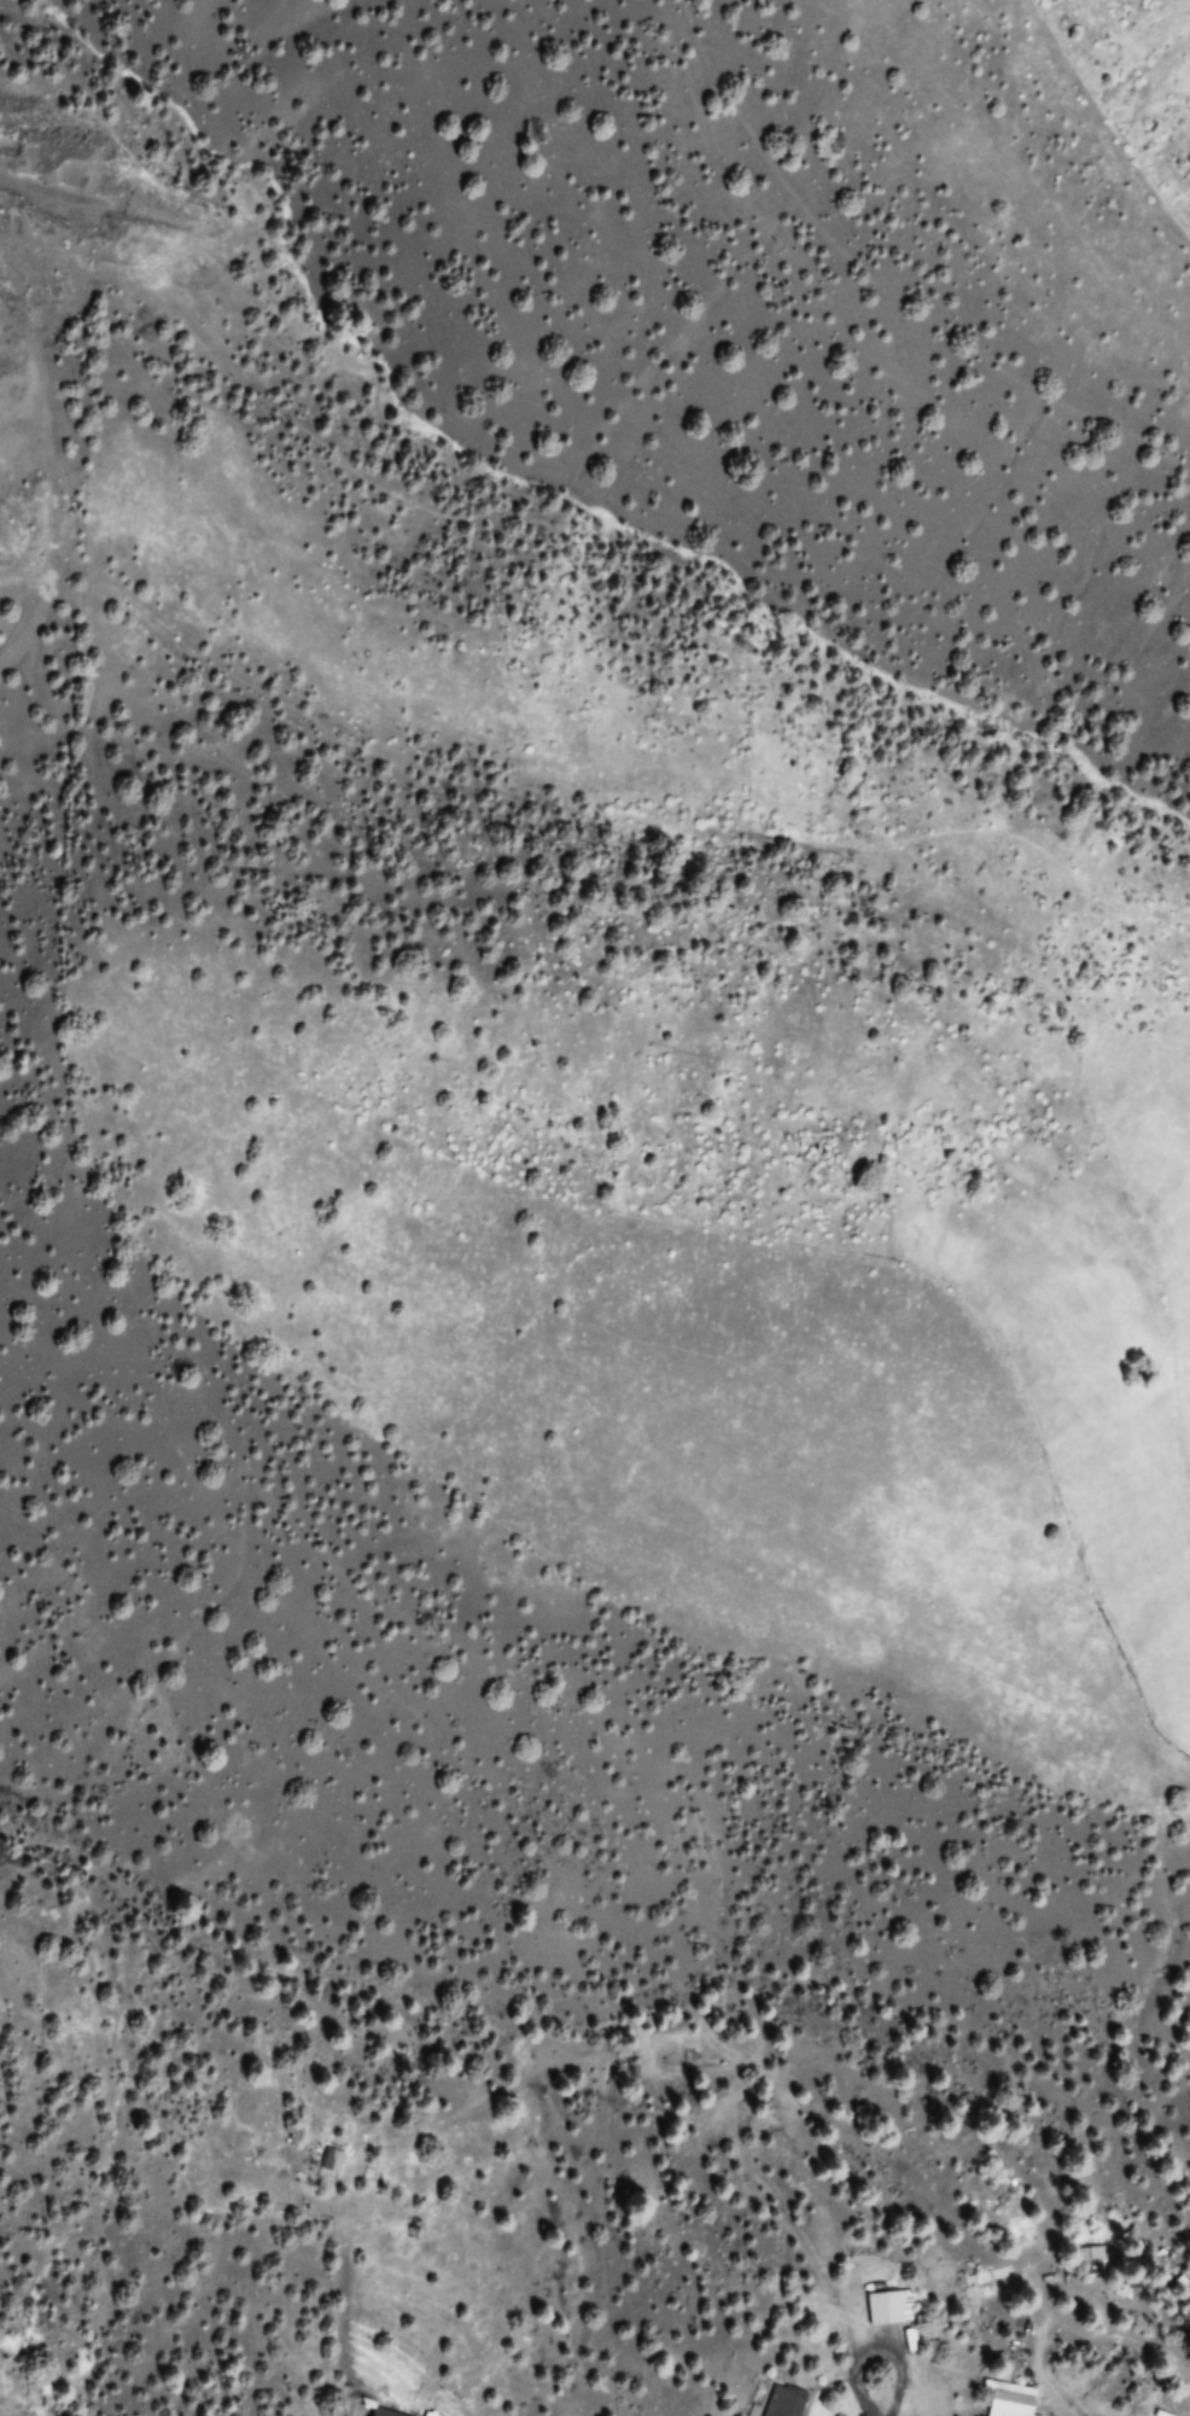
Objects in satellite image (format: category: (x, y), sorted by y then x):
building: (880, 2306)
road: (1173, 2363)
building: (1010, 2399)
building: (782, 2402)
road: (1061, 2408)
building: (380, 2412)

